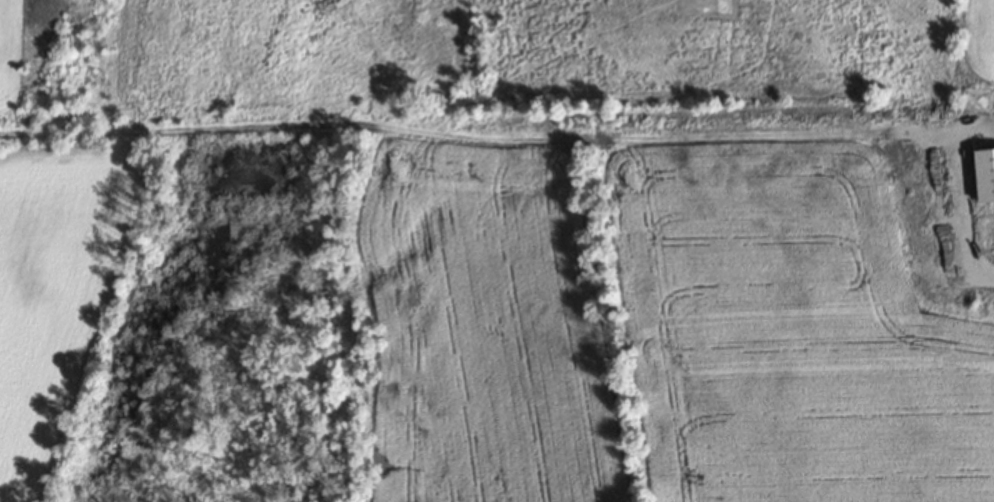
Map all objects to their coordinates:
road: (958, 193)

